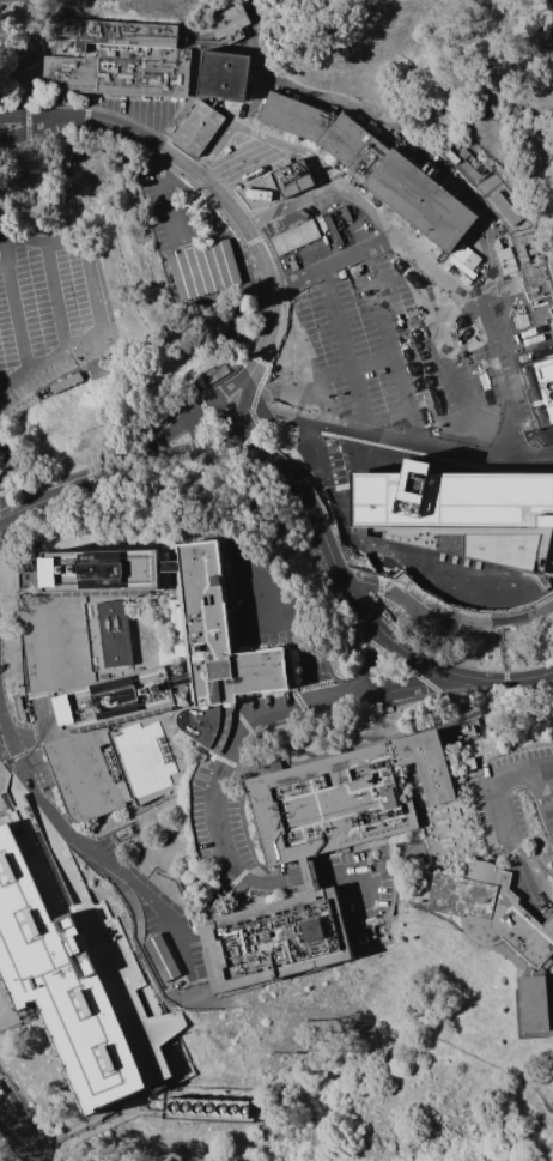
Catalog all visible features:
building: (548, 19)
building: (227, 22)
building: (120, 60)
building: (223, 74)
road: (80, 122)
building: (197, 128)
road: (34, 129)
road: (309, 153)
building: (372, 168)
road: (205, 176)
building: (292, 179)
building: (487, 186)
road: (162, 189)
road: (366, 208)
road: (45, 229)
road: (1, 237)
building: (296, 237)
road: (4, 265)
building: (205, 270)
parking lot: (44, 300)
parking lot: (357, 309)
road: (329, 312)
road: (17, 325)
building: (105, 339)
road: (68, 341)
building: (72, 362)
road: (363, 362)
road: (286, 365)
road: (13, 376)
road: (230, 387)
building: (541, 387)
building: (396, 393)
road: (242, 395)
road: (170, 431)
road: (253, 441)
road: (197, 445)
road: (175, 448)
road: (243, 453)
road: (75, 486)
building: (458, 512)
road: (324, 539)
building: (169, 566)
building: (101, 570)
road: (394, 591)
parking lot: (412, 601)
parking lot: (271, 607)
road: (294, 624)
building: (75, 639)
building: (217, 651)
road: (376, 663)
road: (457, 675)
building: (181, 679)
building: (114, 699)
road: (281, 709)
building: (114, 763)
building: (468, 763)
road: (535, 793)
building: (342, 797)
parking lot: (498, 814)
road: (548, 815)
parking lot: (201, 817)
road: (500, 820)
road: (548, 826)
parking lot: (239, 827)
road: (89, 849)
road: (215, 875)
building: (305, 875)
road: (308, 876)
road: (68, 877)
parking lot: (174, 930)
building: (500, 931)
building: (274, 939)
building: (163, 957)
building: (83, 994)
building: (0, 1092)
building: (189, 1102)
road: (19, 1111)
road: (24, 1133)
road: (18, 1144)

